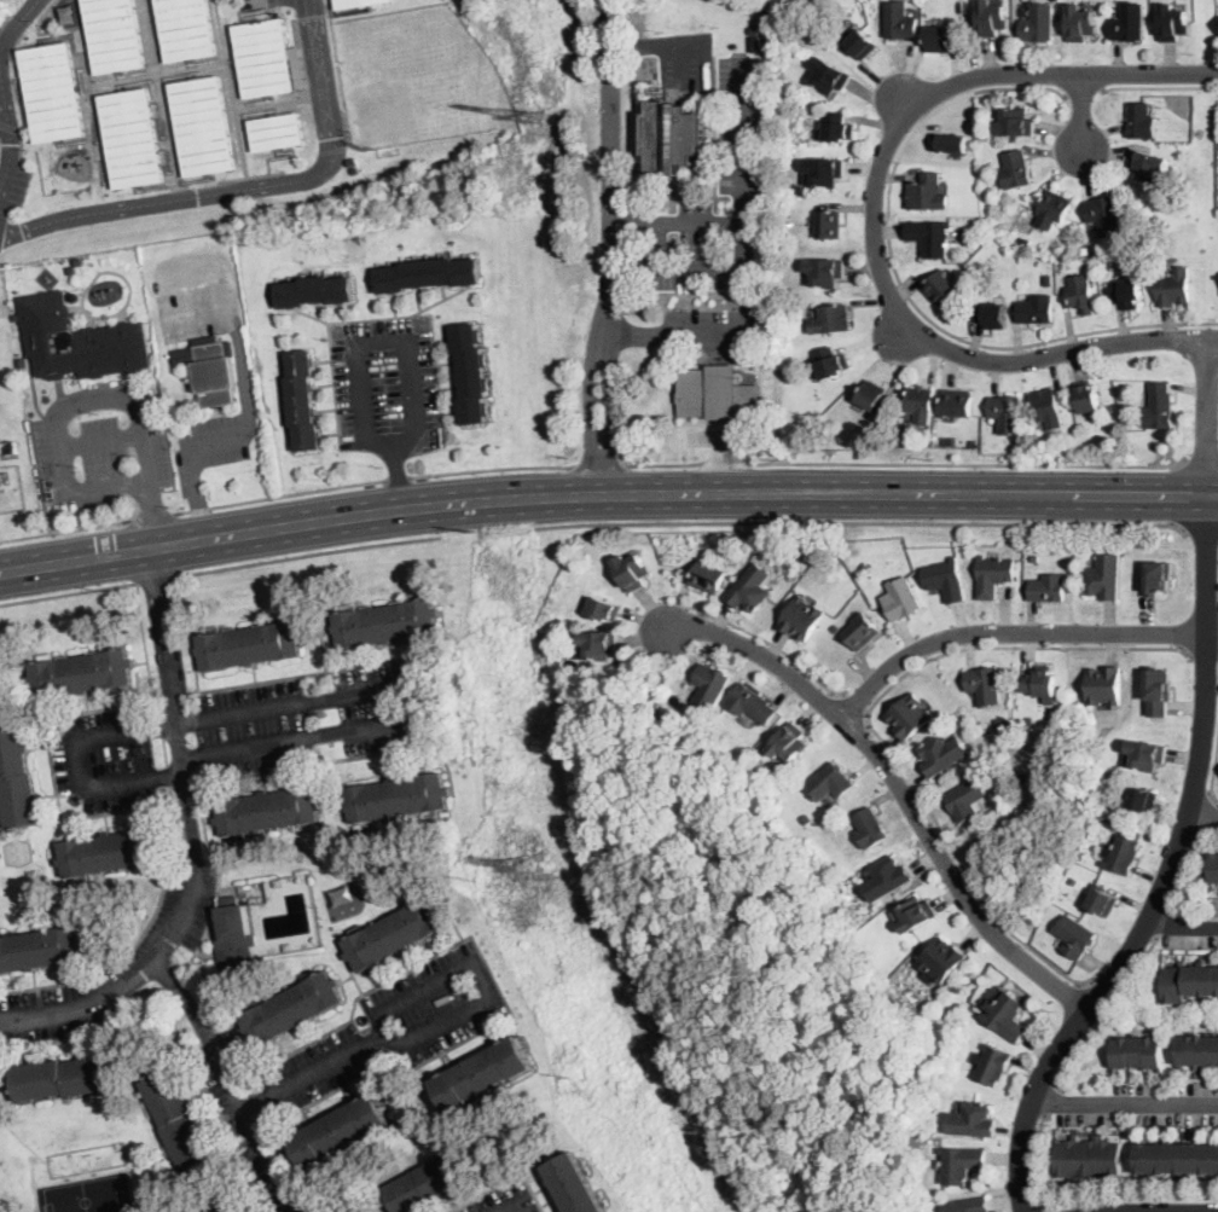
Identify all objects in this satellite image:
road: (260, 0)
road: (279, 0)
building: (355, 2)
road: (243, 11)
road: (312, 18)
building: (991, 18)
building: (899, 21)
building: (1080, 23)
building: (1129, 23)
building: (1173, 23)
building: (1038, 24)
building: (187, 28)
building: (754, 30)
building: (115, 35)
building: (942, 37)
building: (755, 42)
building: (862, 44)
road: (75, 47)
building: (265, 58)
road: (207, 59)
road: (301, 60)
building: (300, 65)
road: (152, 70)
road: (133, 74)
road: (157, 75)
park: (417, 75)
road: (80, 76)
building: (830, 76)
road: (237, 77)
road: (146, 80)
road: (1158, 85)
road: (231, 87)
road: (2, 89)
road: (1081, 91)
building: (53, 92)
road: (159, 94)
road: (2, 99)
road: (259, 102)
road: (19, 103)
road: (905, 103)
road: (271, 104)
road: (1081, 111)
road: (250, 114)
power tower: (532, 116)
road: (161, 122)
building: (1141, 122)
building: (1016, 123)
building: (203, 126)
road: (10, 127)
building: (837, 127)
building: (277, 131)
parking lot: (0, 134)
building: (672, 137)
building: (133, 138)
road: (101, 140)
road: (75, 141)
road: (94, 143)
building: (950, 143)
road: (332, 151)
building: (788, 151)
road: (286, 157)
road: (167, 163)
building: (1148, 164)
road: (611, 166)
building: (353, 170)
building: (1016, 170)
building: (823, 172)
road: (249, 175)
road: (191, 180)
parking lot: (739, 184)
parking lot: (19, 186)
road: (249, 186)
road: (155, 187)
building: (927, 193)
building: (1052, 209)
road: (875, 214)
building: (1104, 214)
road: (637, 222)
building: (829, 225)
building: (930, 238)
building: (79, 262)
road: (741, 268)
building: (71, 271)
building: (825, 272)
building: (428, 274)
building: (1049, 278)
road: (903, 288)
building: (941, 288)
building: (1173, 288)
building: (314, 291)
building: (1081, 294)
building: (1127, 294)
building: (1037, 309)
building: (991, 314)
building: (831, 319)
parking lot: (714, 329)
road: (680, 334)
road: (901, 334)
road: (1213, 338)
building: (79, 341)
building: (16, 346)
building: (743, 355)
building: (831, 363)
building: (214, 372)
building: (471, 373)
road: (246, 378)
parking lot: (387, 387)
building: (715, 393)
building: (871, 395)
building: (301, 399)
building: (1089, 399)
building: (921, 402)
building: (957, 402)
building: (1160, 406)
building: (1048, 407)
road: (591, 411)
building: (1008, 412)
road: (611, 413)
road: (1208, 417)
road: (62, 418)
building: (865, 428)
road: (412, 434)
road: (101, 441)
building: (11, 448)
building: (0, 451)
road: (907, 462)
road: (1200, 462)
road: (597, 464)
road: (488, 469)
road: (394, 476)
road: (398, 476)
road: (280, 494)
road: (1125, 494)
road: (1213, 495)
road: (517, 498)
road: (151, 514)
road: (202, 514)
road: (151, 515)
road: (863, 523)
road: (64, 529)
road: (1200, 532)
power tower: (476, 533)
road: (309, 556)
building: (1034, 557)
building: (864, 568)
building: (631, 572)
building: (993, 576)
road: (157, 578)
building: (708, 578)
building: (1104, 578)
building: (1158, 578)
building: (946, 579)
building: (1049, 587)
building: (752, 588)
road: (68, 592)
power tower: (112, 592)
building: (901, 598)
building: (604, 609)
building: (802, 619)
building: (387, 622)
building: (835, 628)
building: (863, 632)
road: (1014, 632)
road: (144, 643)
building: (597, 644)
building: (249, 645)
road: (775, 645)
road: (1202, 659)
building: (81, 673)
building: (585, 675)
building: (547, 680)
building: (1042, 683)
building: (984, 685)
building: (710, 686)
building: (1104, 686)
building: (1158, 692)
building: (752, 703)
road: (855, 706)
building: (910, 715)
parking lot: (315, 719)
building: (1046, 719)
road: (187, 720)
building: (1029, 720)
building: (998, 723)
road: (866, 724)
road: (302, 737)
building: (789, 743)
building: (942, 754)
building: (1147, 754)
parking lot: (106, 761)
building: (1115, 776)
building: (1021, 777)
road: (1214, 777)
building: (17, 779)
building: (831, 782)
road: (899, 788)
building: (396, 798)
building: (967, 799)
building: (1141, 800)
building: (268, 810)
road: (1203, 816)
road: (1210, 816)
building: (808, 818)
building: (870, 828)
road: (193, 843)
building: (111, 852)
building: (1124, 854)
road: (1189, 864)
power tower: (535, 869)
building: (1213, 870)
road: (1171, 872)
building: (887, 878)
building: (1075, 880)
power tower: (474, 881)
building: (845, 894)
building: (1103, 901)
building: (916, 914)
road: (1165, 924)
road: (1182, 926)
building: (233, 934)
building: (395, 934)
building: (1075, 936)
building: (40, 949)
building: (942, 959)
parking lot: (114, 967)
building: (1189, 982)
road: (1102, 992)
road: (422, 994)
building: (135, 1008)
building: (291, 1009)
building: (1007, 1017)
road: (1104, 1017)
parking lot: (394, 1027)
building: (1197, 1051)
building: (1138, 1054)
building: (994, 1065)
building: (482, 1073)
building: (64, 1078)
road: (227, 1088)
power tower: (579, 1088)
road: (1050, 1101)
road: (1125, 1103)
parking lot: (243, 1118)
building: (178, 1119)
building: (973, 1121)
building: (341, 1131)
building: (1177, 1155)
building: (1089, 1158)
building: (961, 1164)
building: (424, 1184)
building: (573, 1185)
parking lot: (504, 1199)
road: (1084, 1201)
building: (233, 1206)
building: (968, 1206)
road: (522, 1208)
road: (1044, 1210)
road: (1164, 1211)

